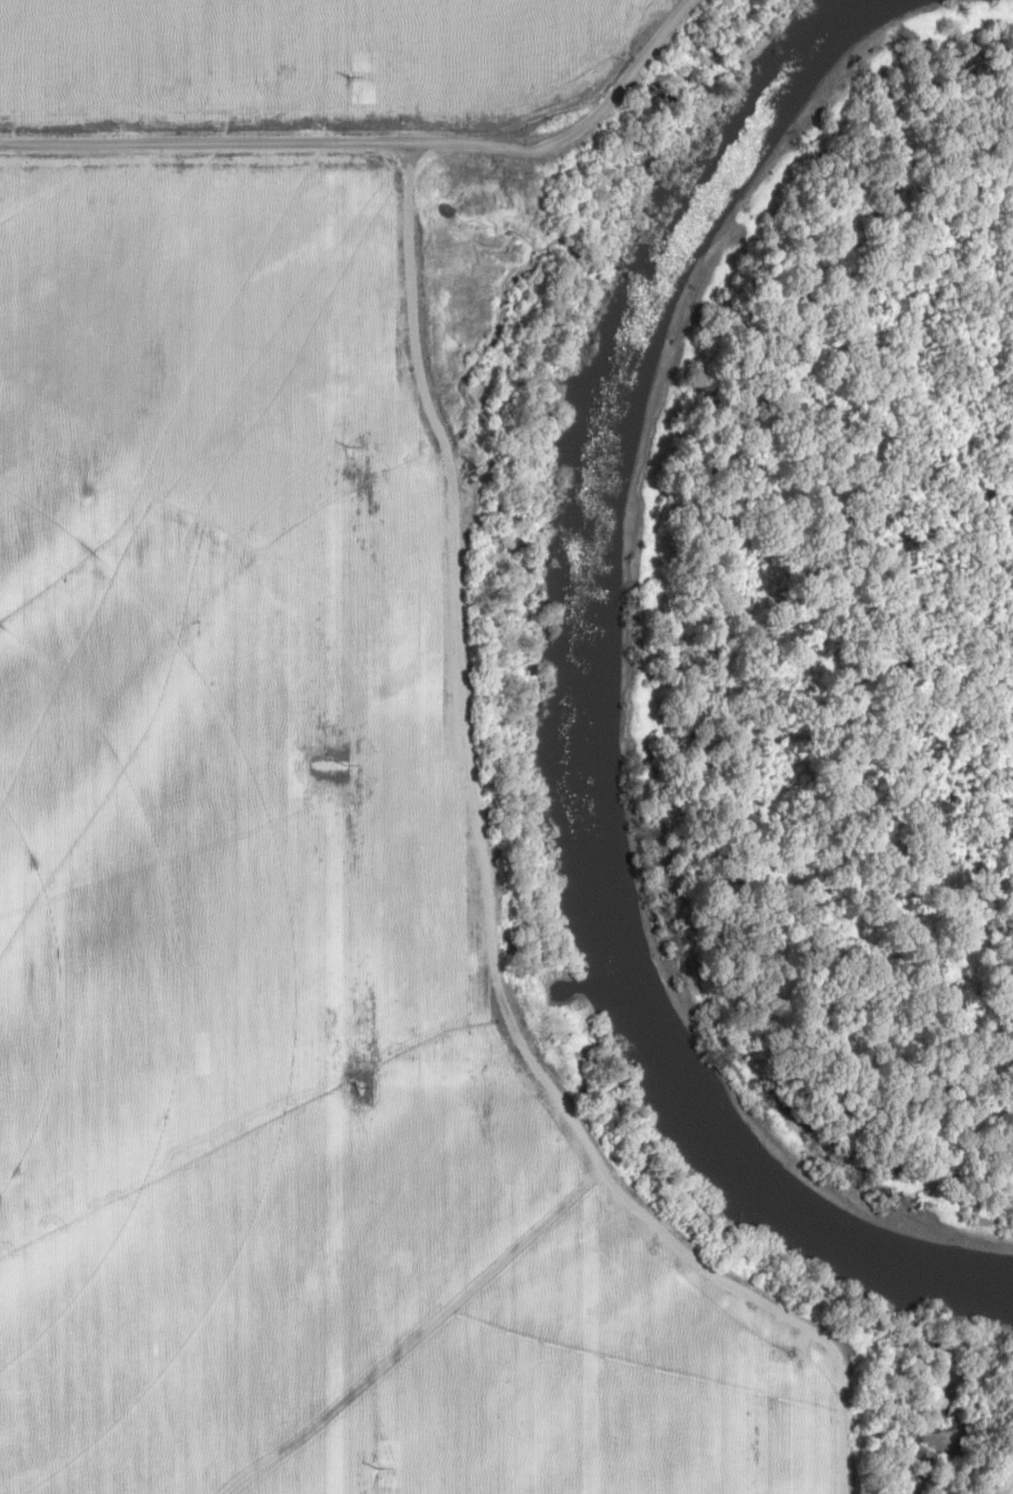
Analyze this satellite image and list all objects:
road: (567, 128)
road: (197, 143)
river: (575, 720)

